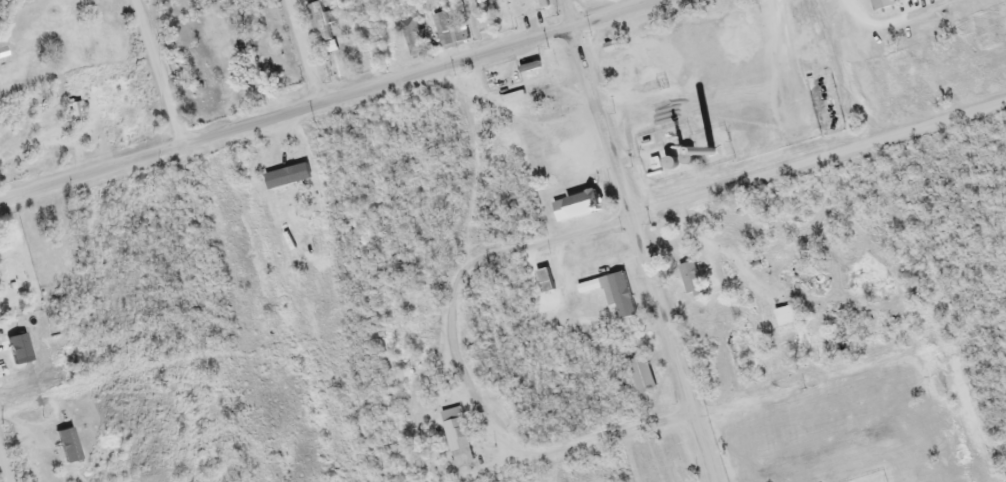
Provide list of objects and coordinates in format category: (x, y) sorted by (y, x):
building: (540, 4)
building: (878, 5)
road: (898, 23)
building: (3, 50)
road: (306, 50)
road: (786, 63)
road: (159, 74)
road: (336, 96)
road: (817, 161)
building: (658, 165)
building: (576, 206)
road: (684, 227)
road: (637, 241)
road: (734, 259)
building: (541, 283)
building: (692, 283)
building: (610, 295)
building: (786, 330)
building: (24, 346)
road: (463, 374)
building: (639, 377)
building: (453, 434)
road: (5, 463)

